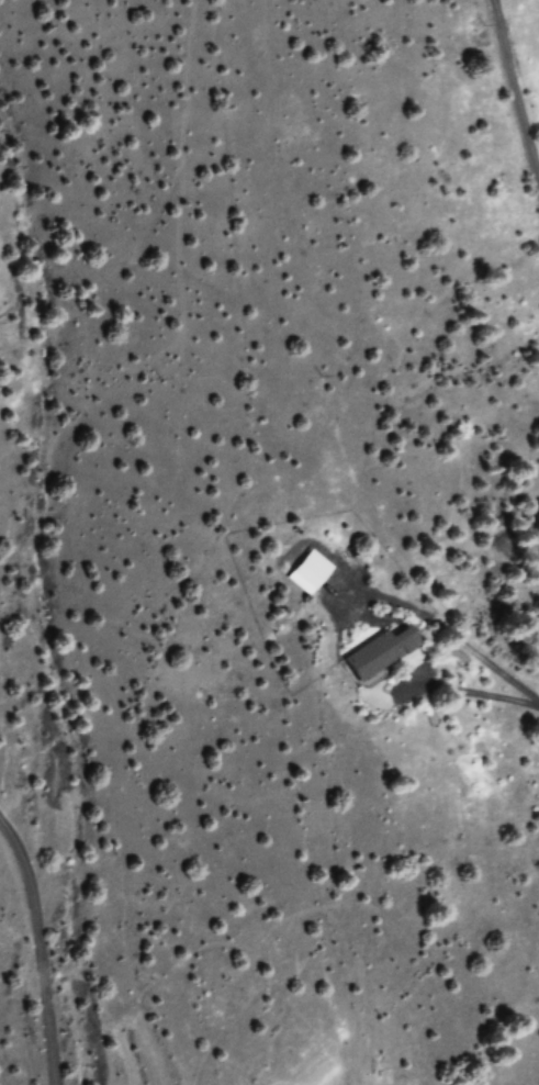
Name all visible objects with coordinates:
road: (512, 88)
building: (307, 572)
building: (379, 655)

